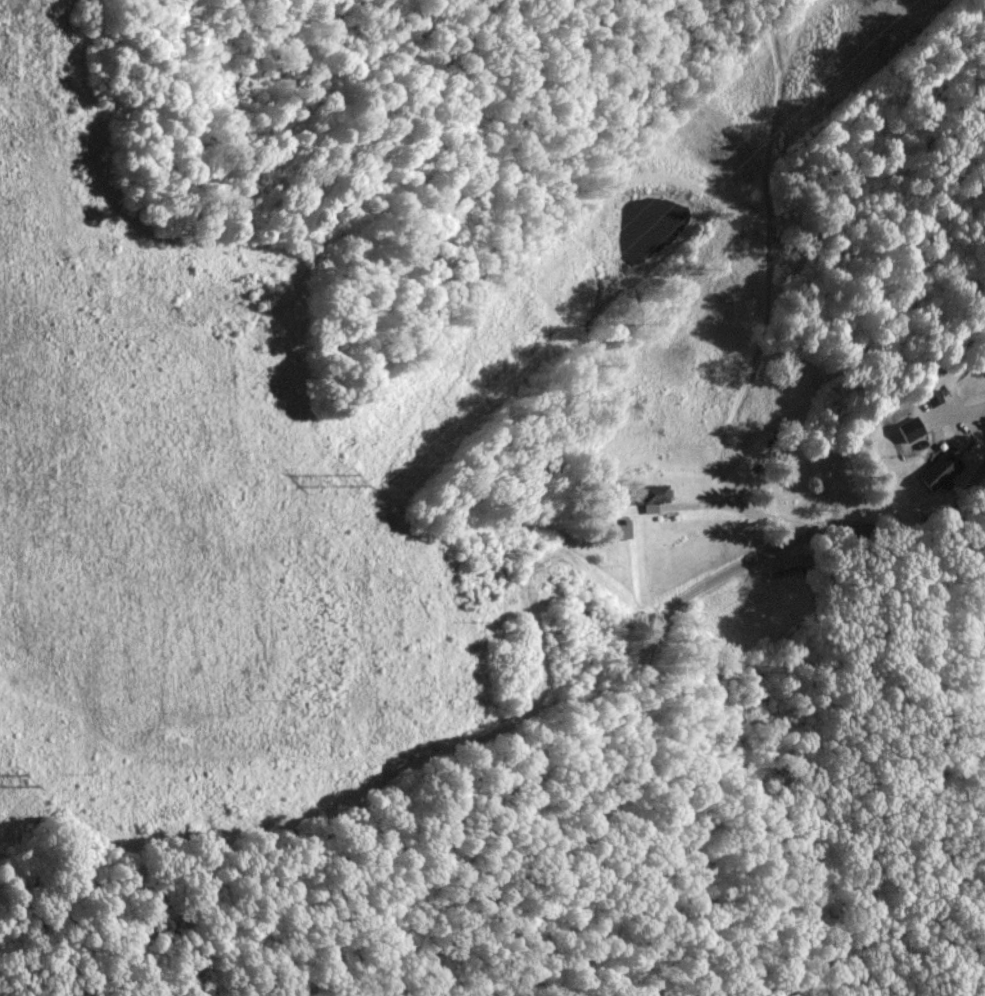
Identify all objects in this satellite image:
building: (910, 429)
building: (941, 467)
power tower: (347, 482)
building: (652, 497)
road: (744, 510)
building: (621, 529)
building: (783, 569)
road: (643, 668)
power tower: (15, 779)

